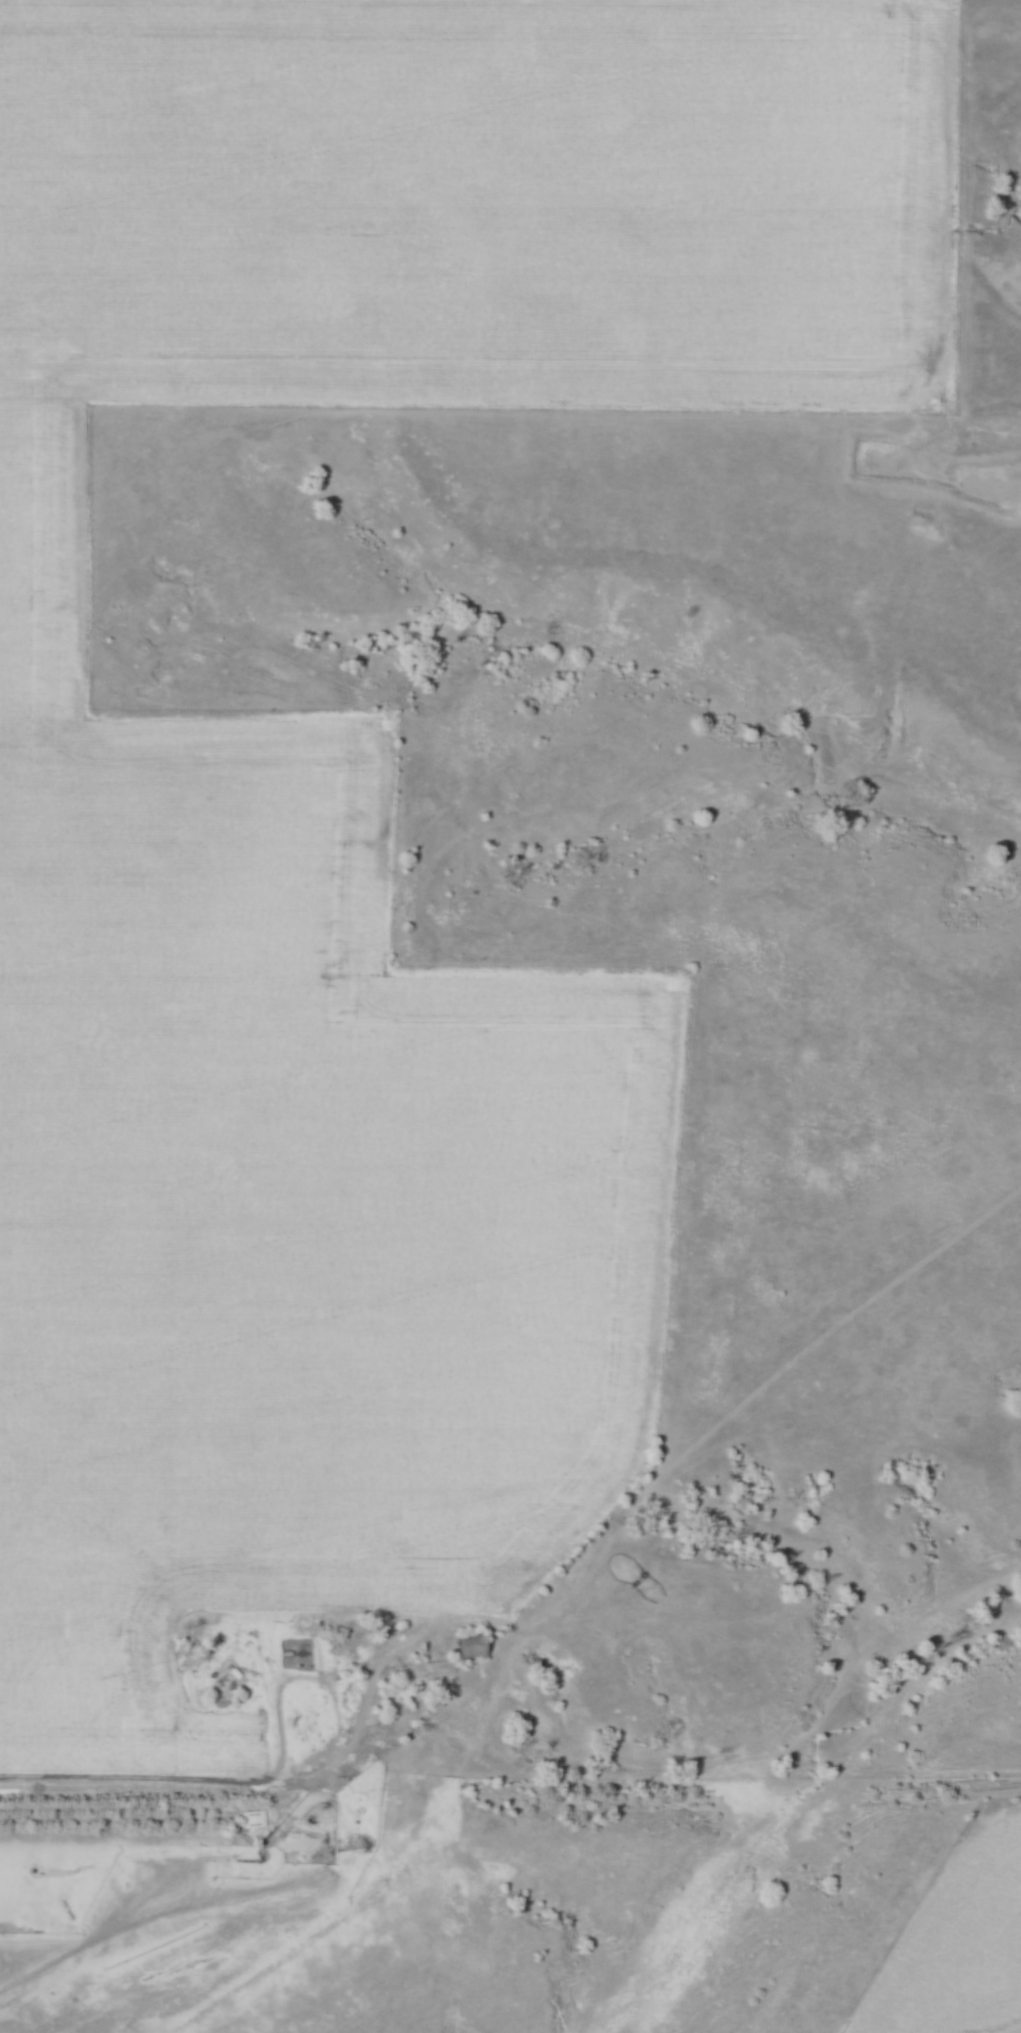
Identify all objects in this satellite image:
building: (474, 1646)
building: (338, 1663)
road: (210, 1776)
building: (252, 1820)

